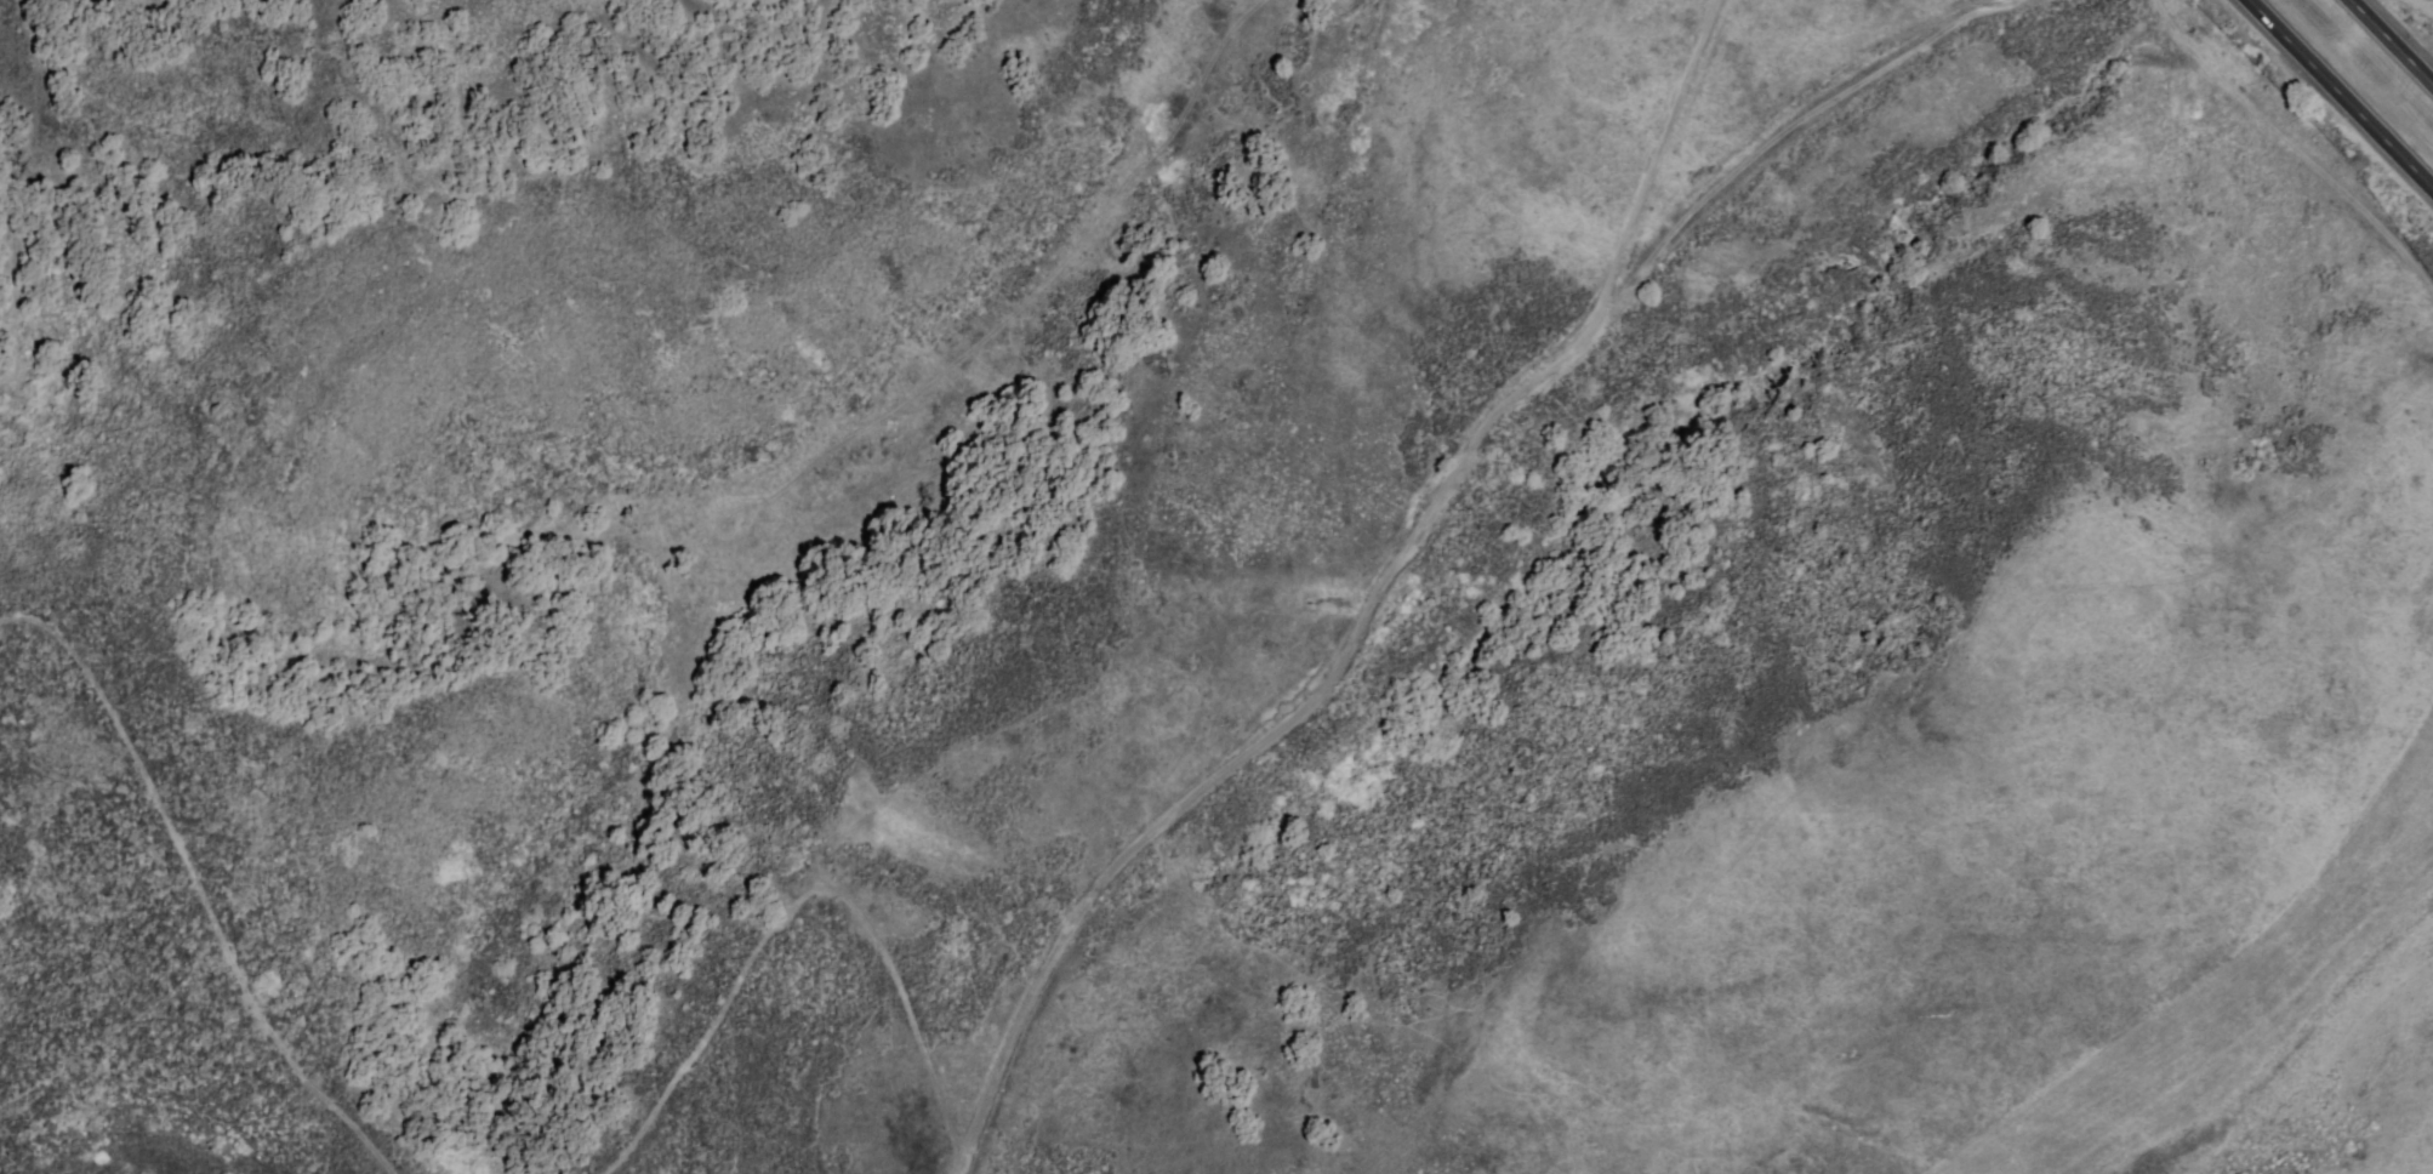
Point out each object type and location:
road: (2365, 13)
road: (2392, 41)
road: (2341, 93)
road: (1418, 525)
road: (192, 871)
road: (807, 896)

